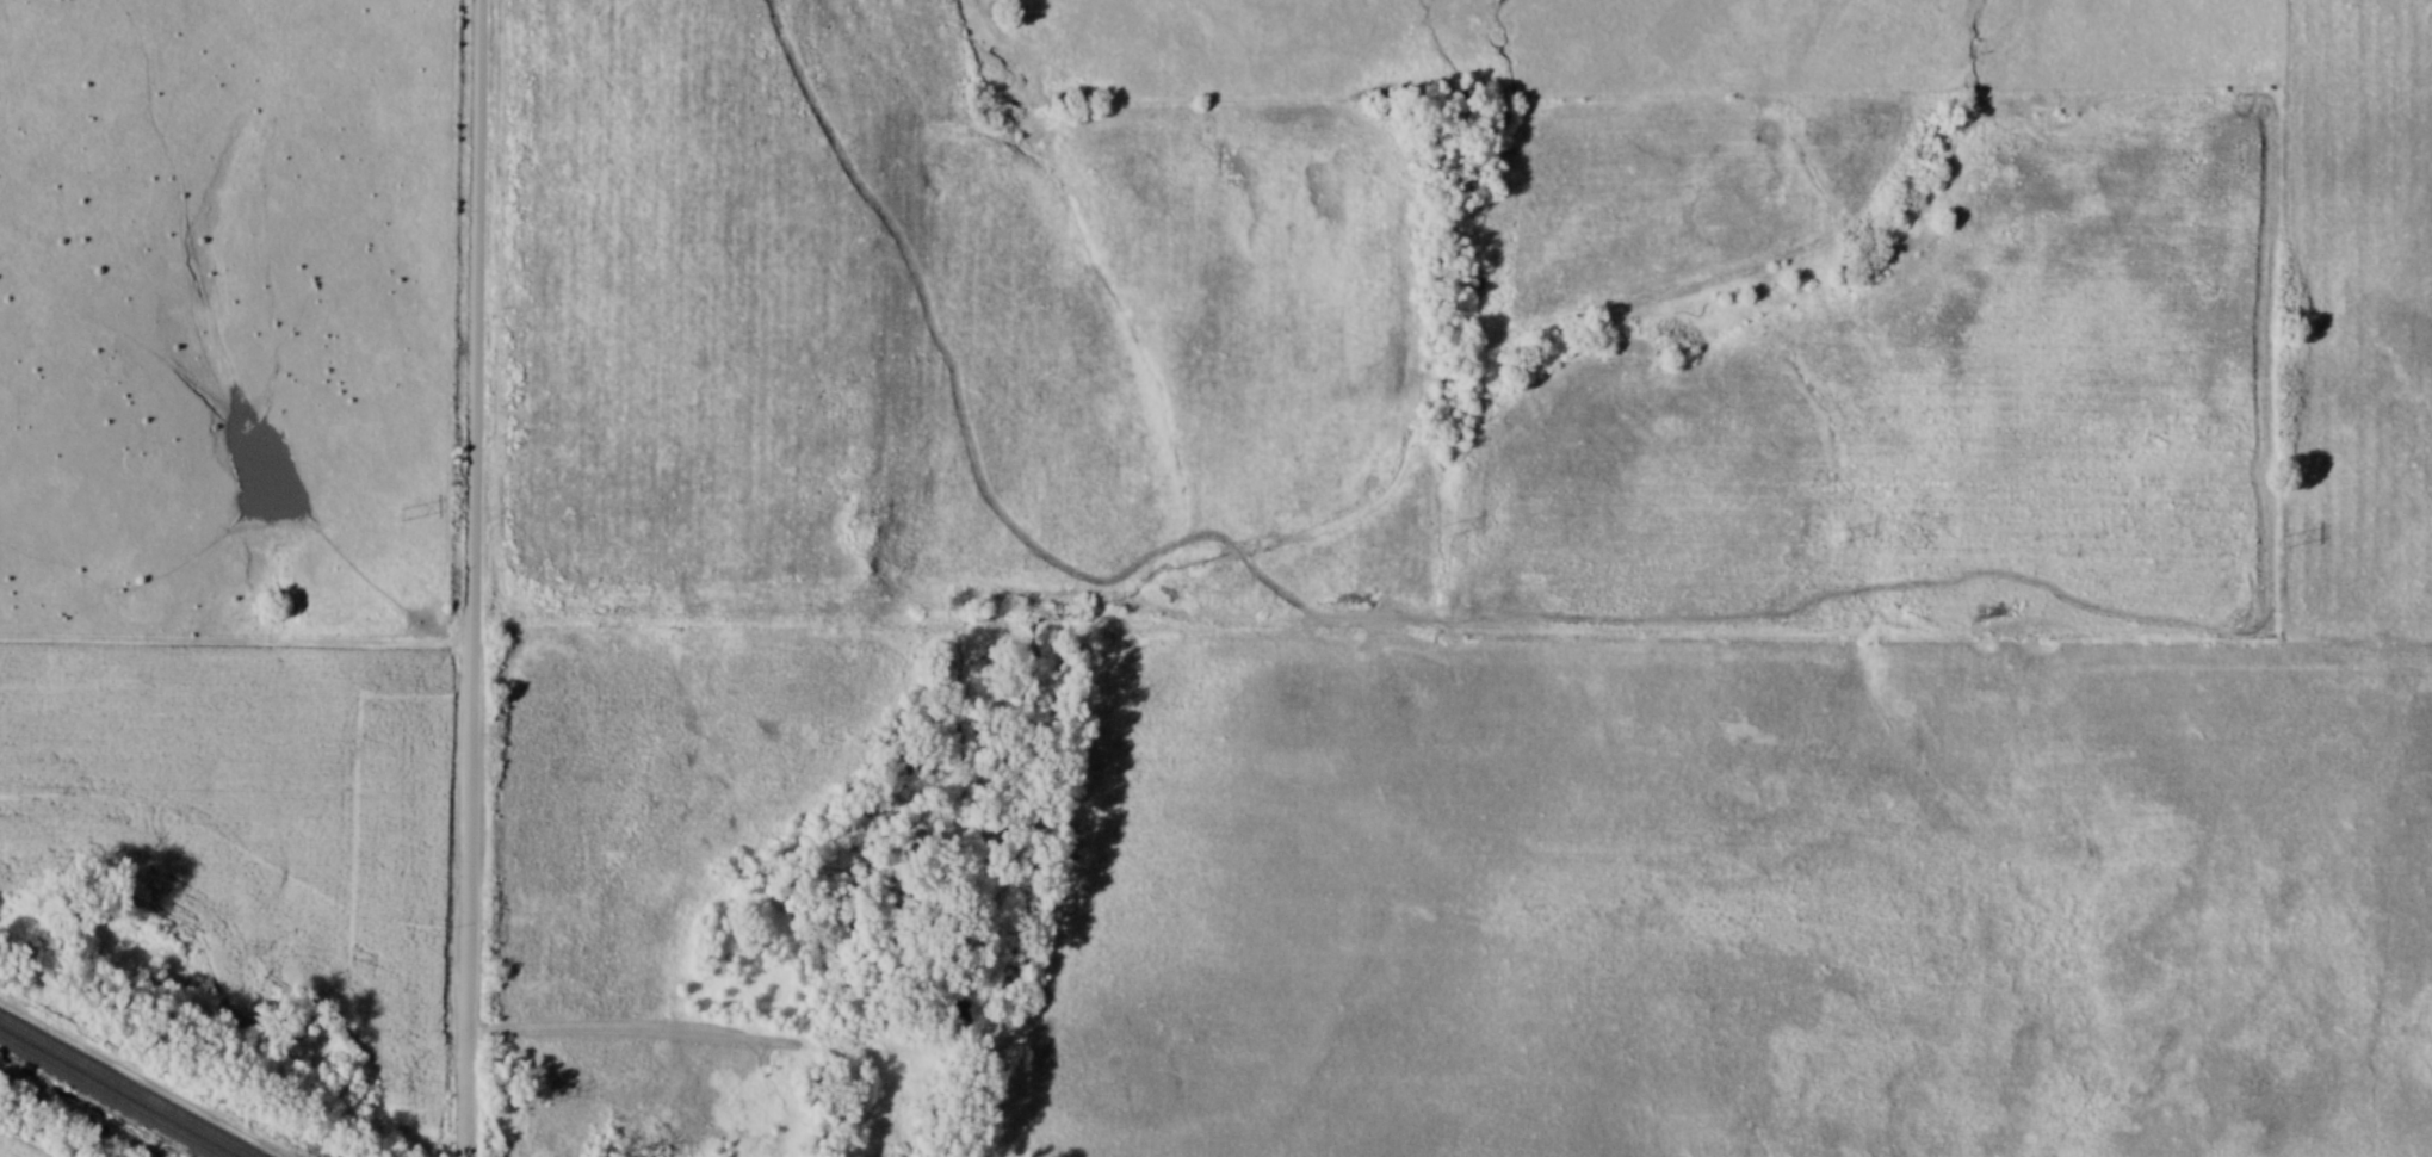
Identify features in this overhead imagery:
power tower: (401, 513)
power tower: (847, 518)
power tower: (1447, 527)
power tower: (1840, 533)
power tower: (2281, 540)
road: (469, 577)
railway: (132, 1084)
railway: (116, 1094)

